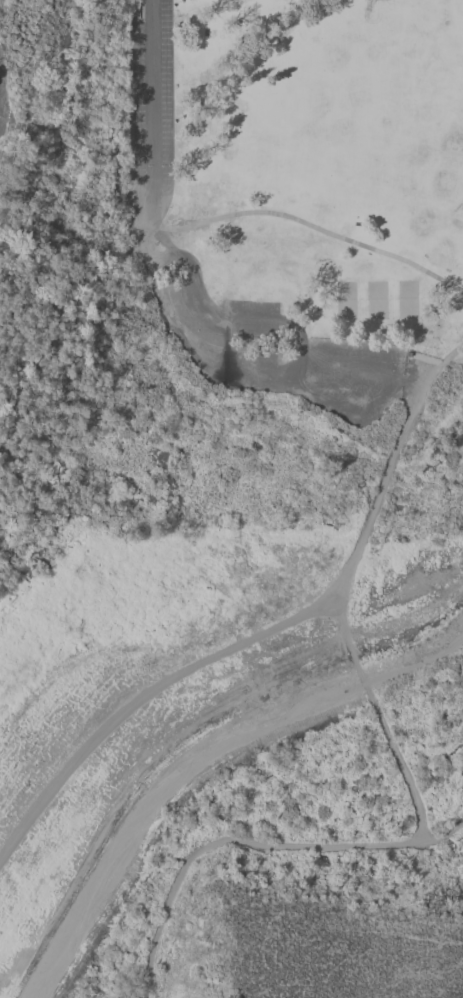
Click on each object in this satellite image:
parking lot: (151, 98)
road: (148, 113)
road: (305, 225)
road: (161, 238)
road: (142, 246)
road: (295, 332)
road: (441, 364)
road: (300, 368)
road: (214, 369)
road: (405, 381)
park: (226, 478)
road: (378, 491)
road: (141, 705)
road: (380, 721)
road: (443, 836)
road: (229, 840)

